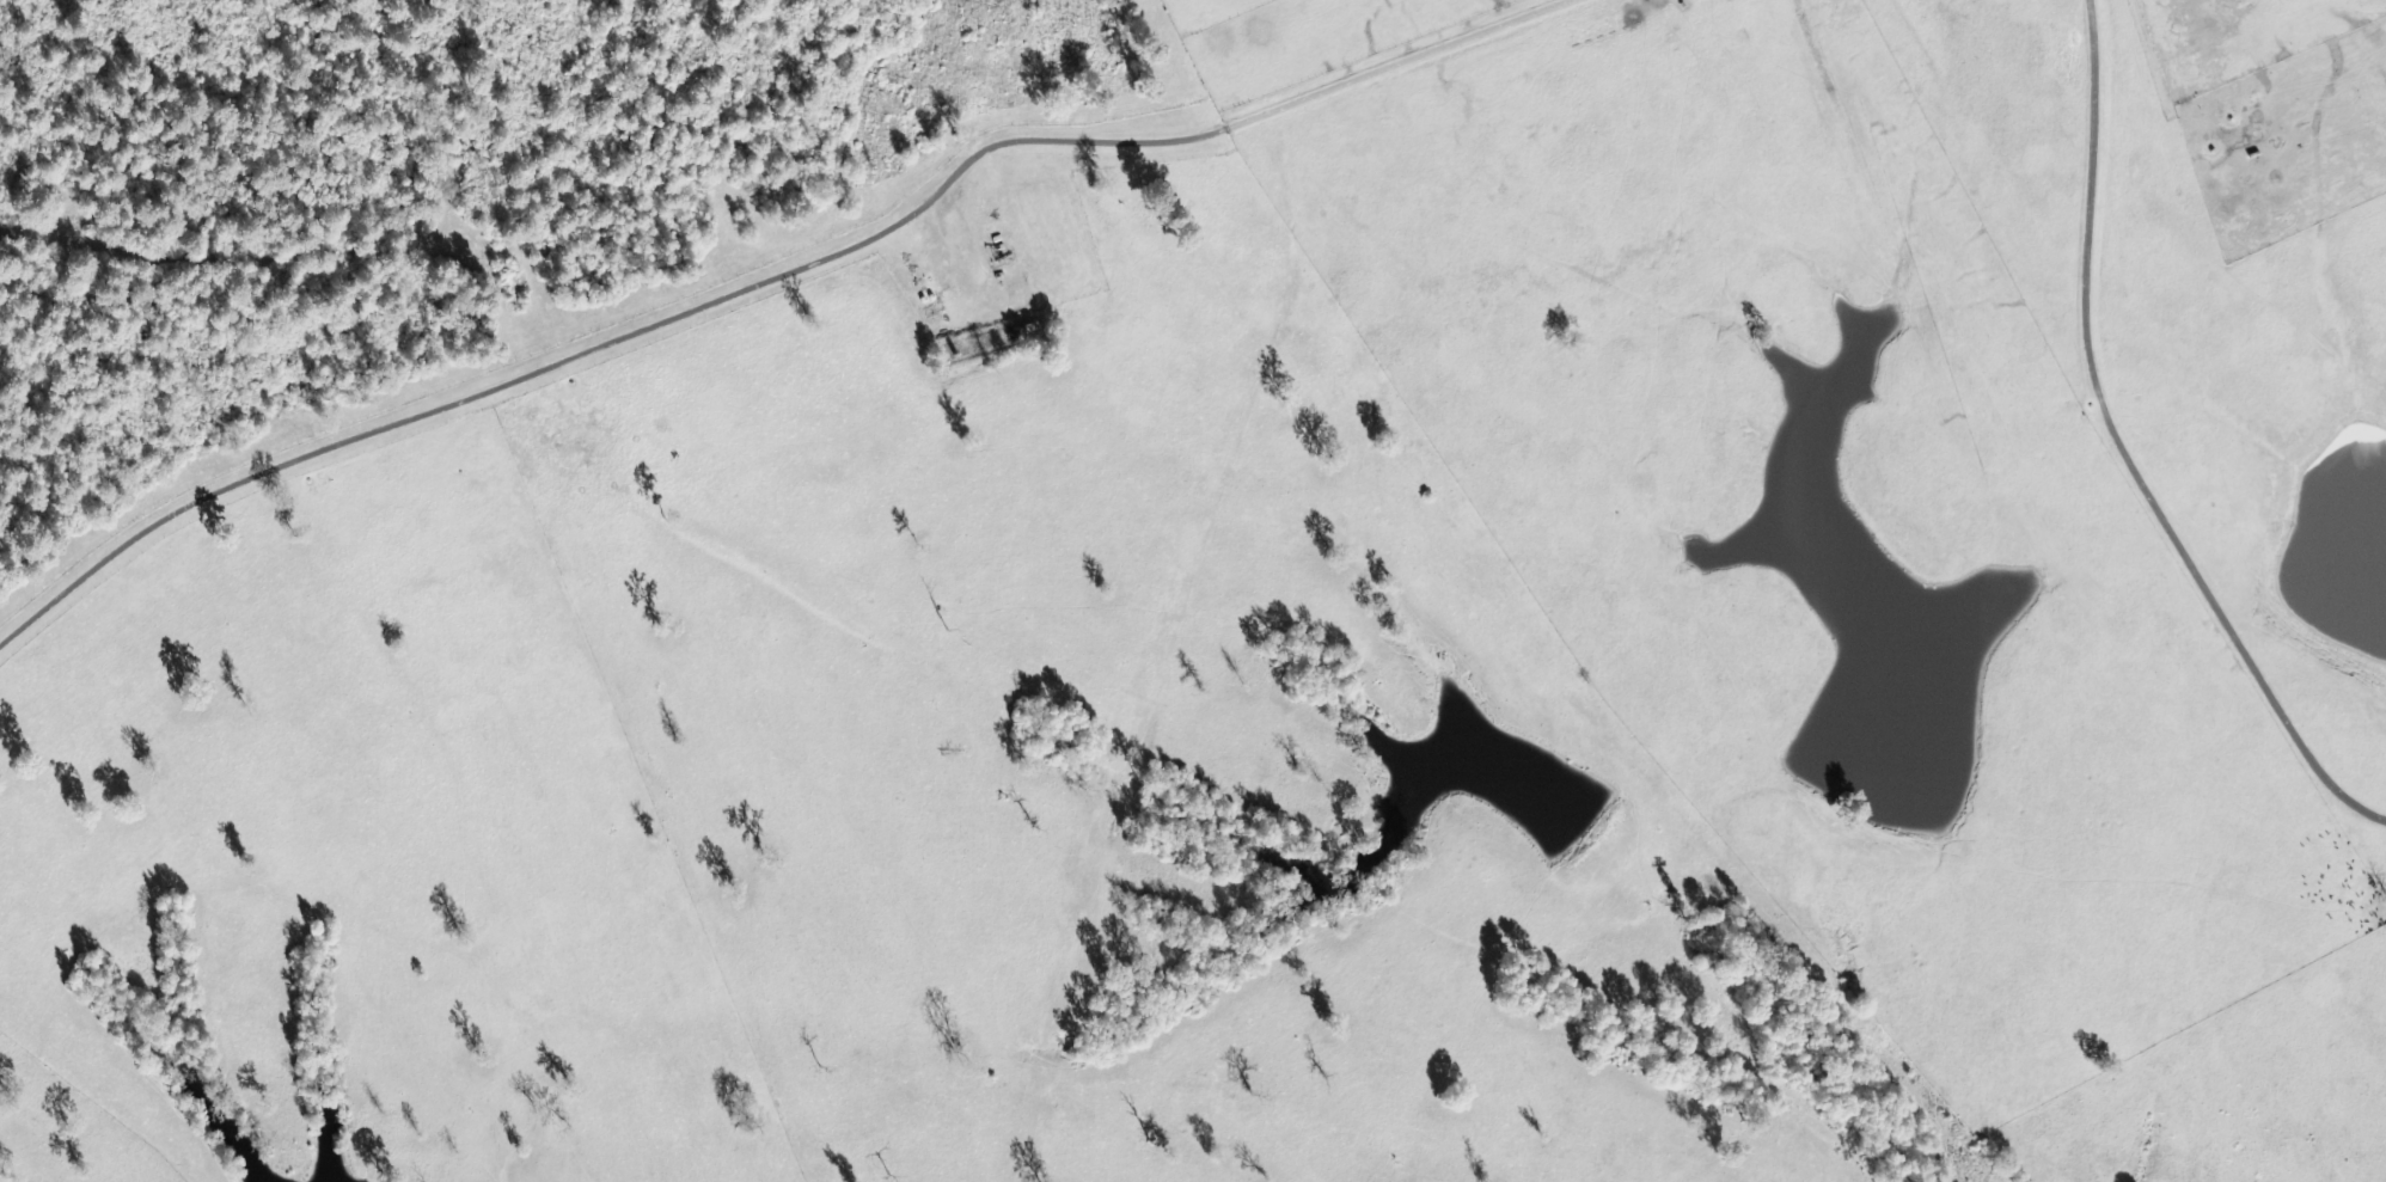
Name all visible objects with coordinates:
road: (2130, 452)

